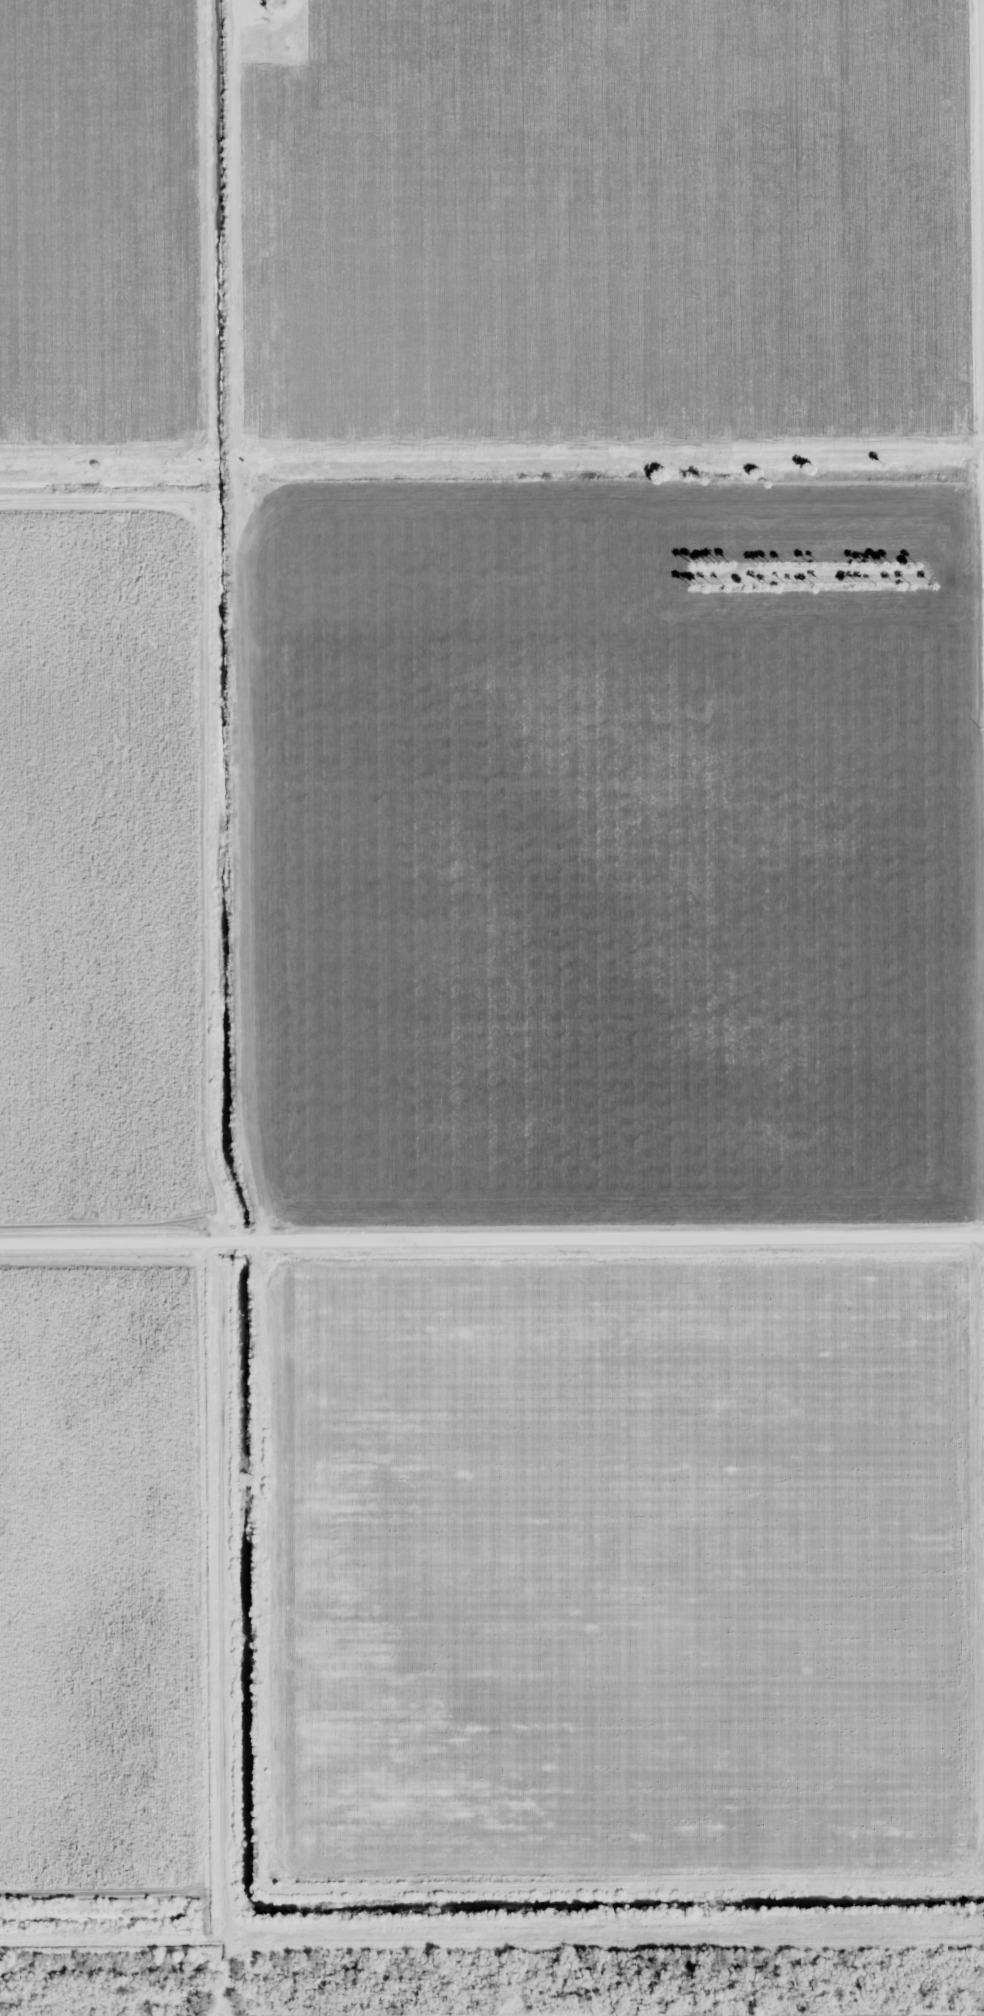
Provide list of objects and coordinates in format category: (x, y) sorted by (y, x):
road: (492, 1239)

